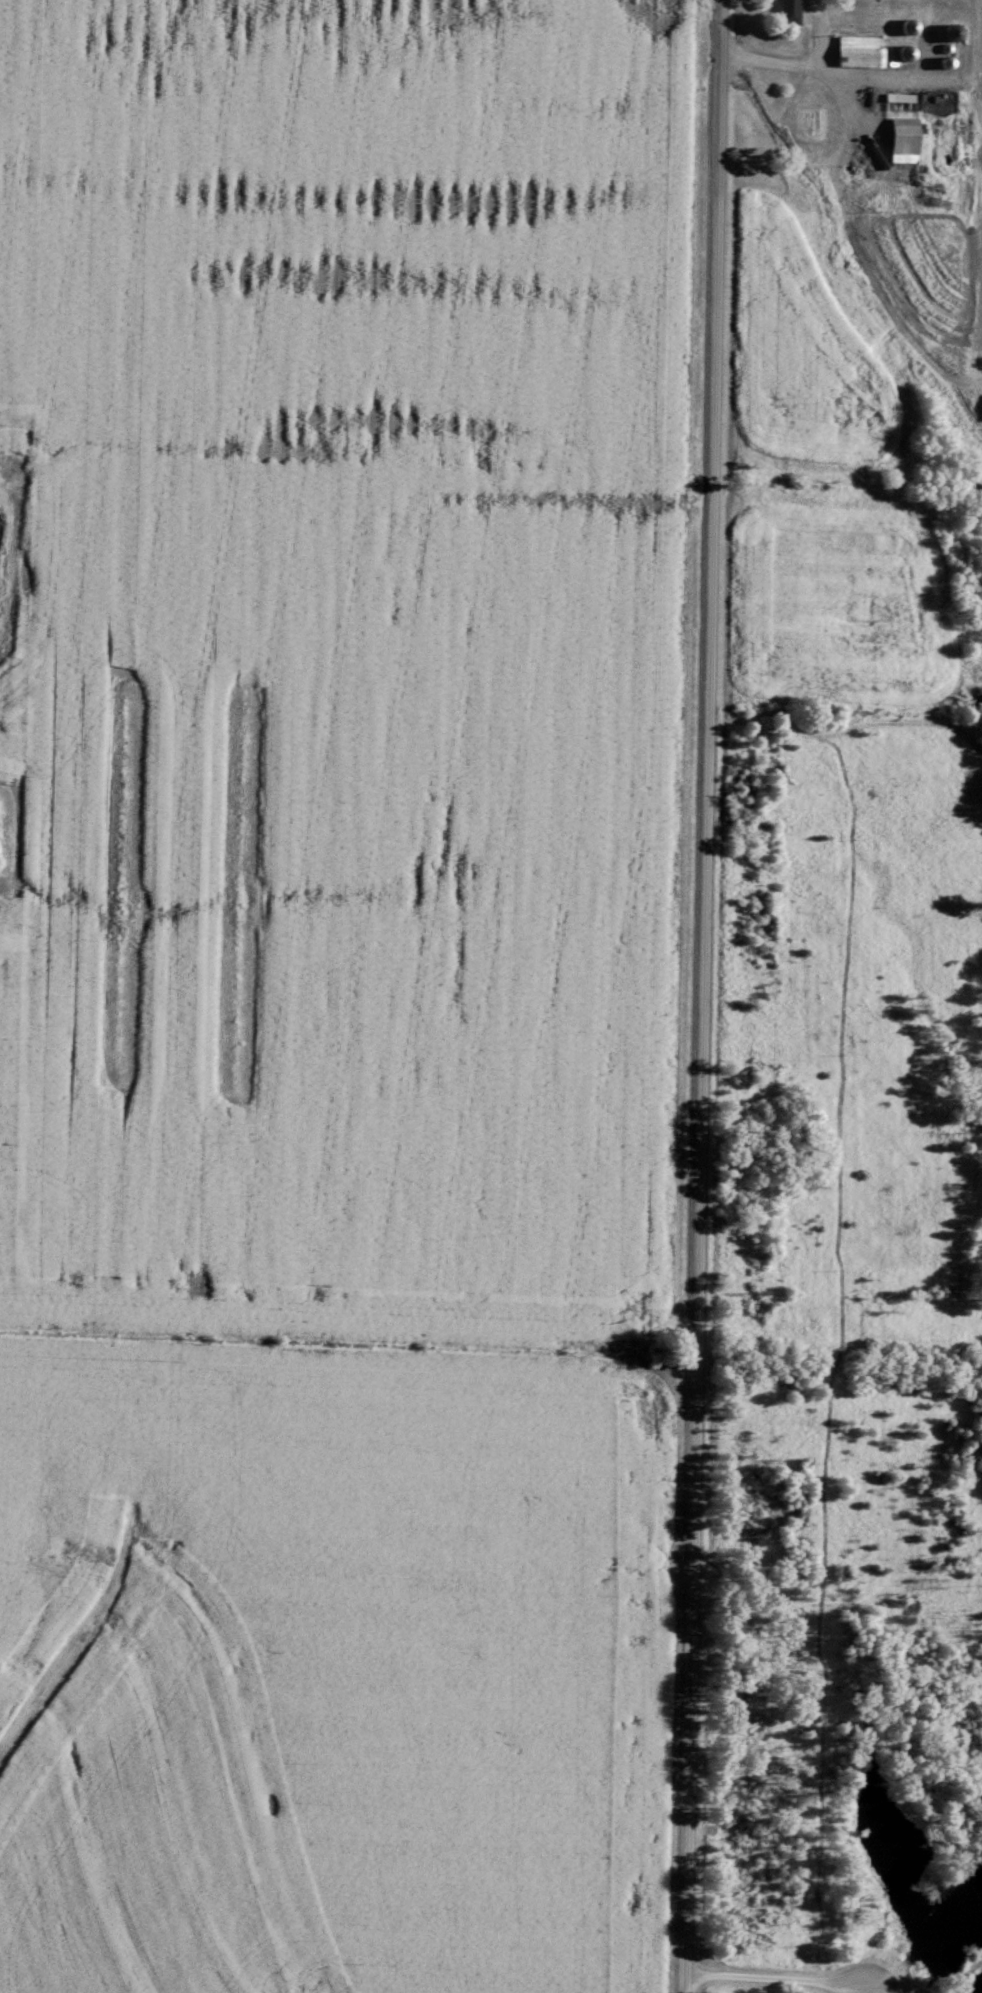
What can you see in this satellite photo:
building: (793, 11)
building: (861, 51)
road: (779, 63)
building: (899, 97)
building: (904, 139)
road: (704, 996)
road: (783, 1976)

